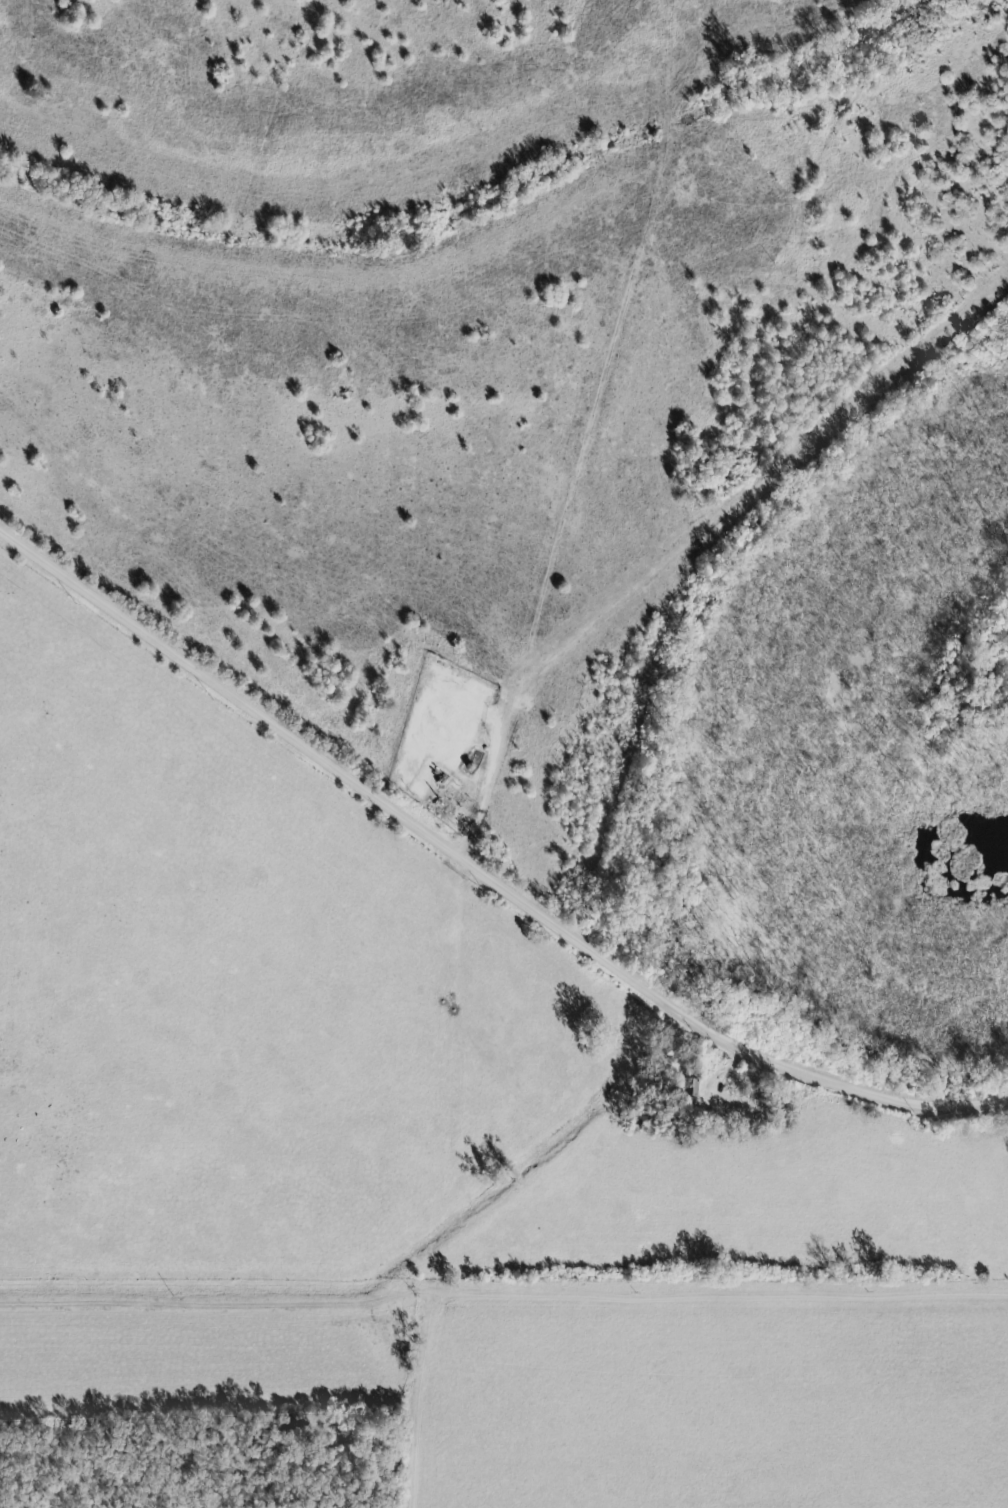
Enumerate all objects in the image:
road: (481, 870)
road: (503, 1294)

